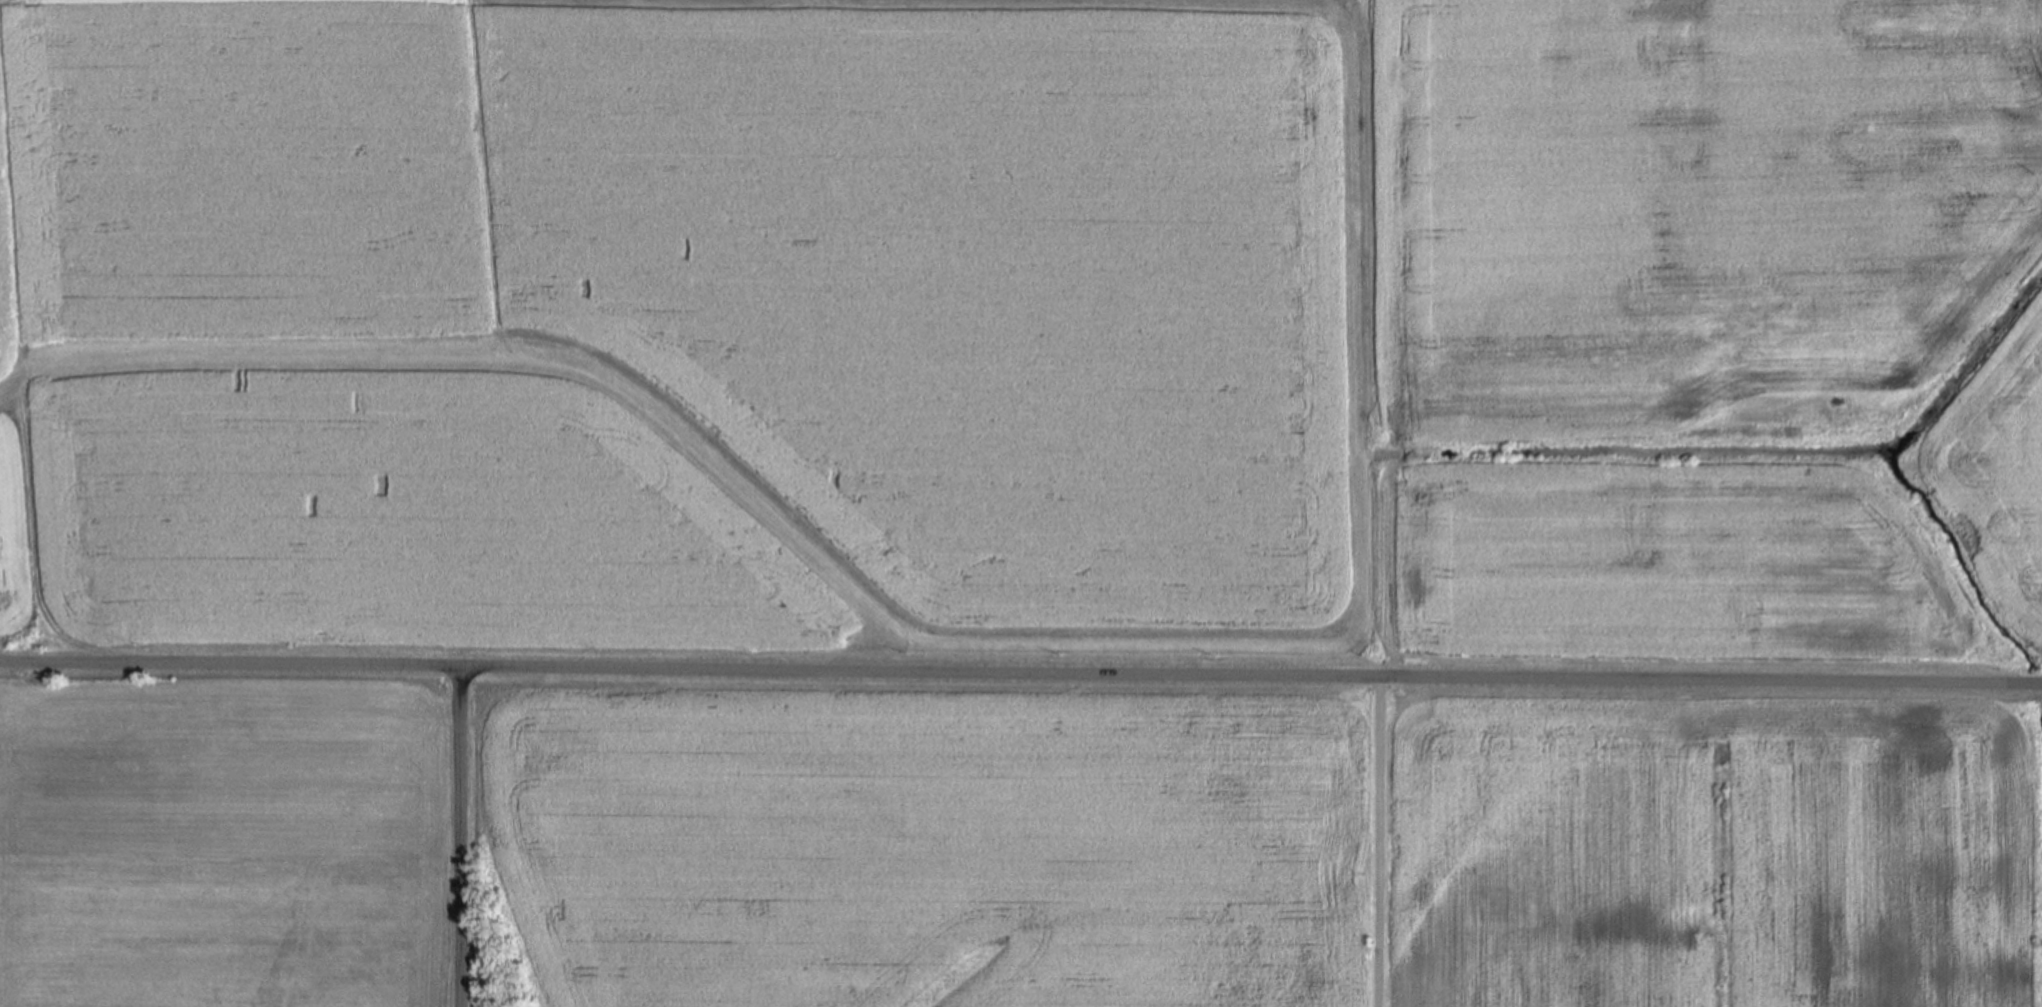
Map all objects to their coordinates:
road: (1020, 674)
road: (460, 837)
road: (1382, 842)

